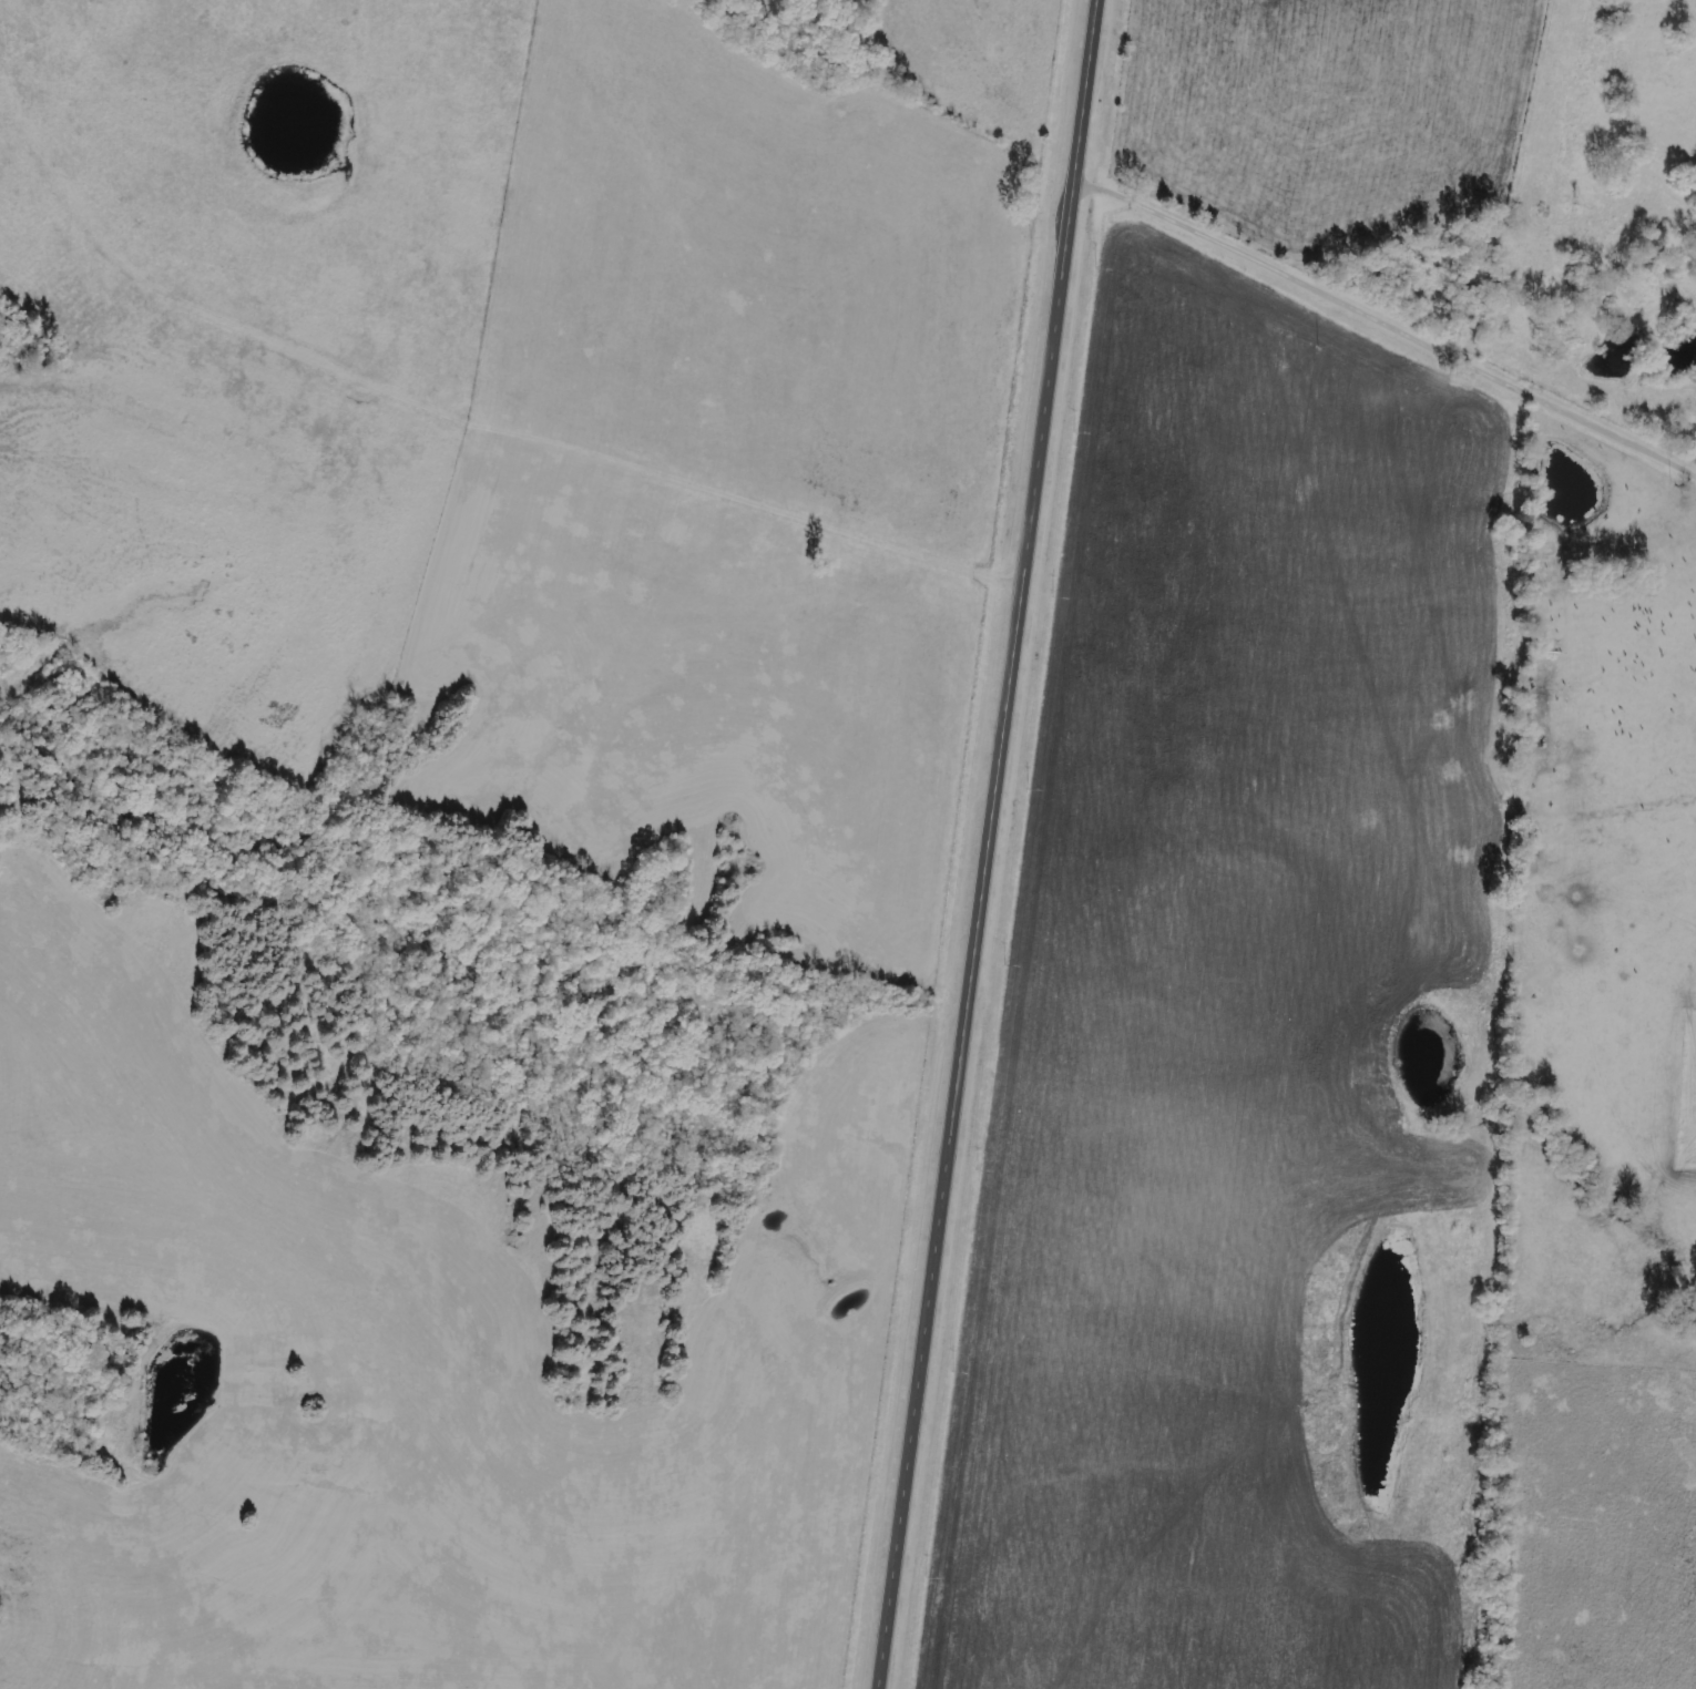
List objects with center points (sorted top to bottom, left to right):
road: (1386, 328)
road: (989, 843)

